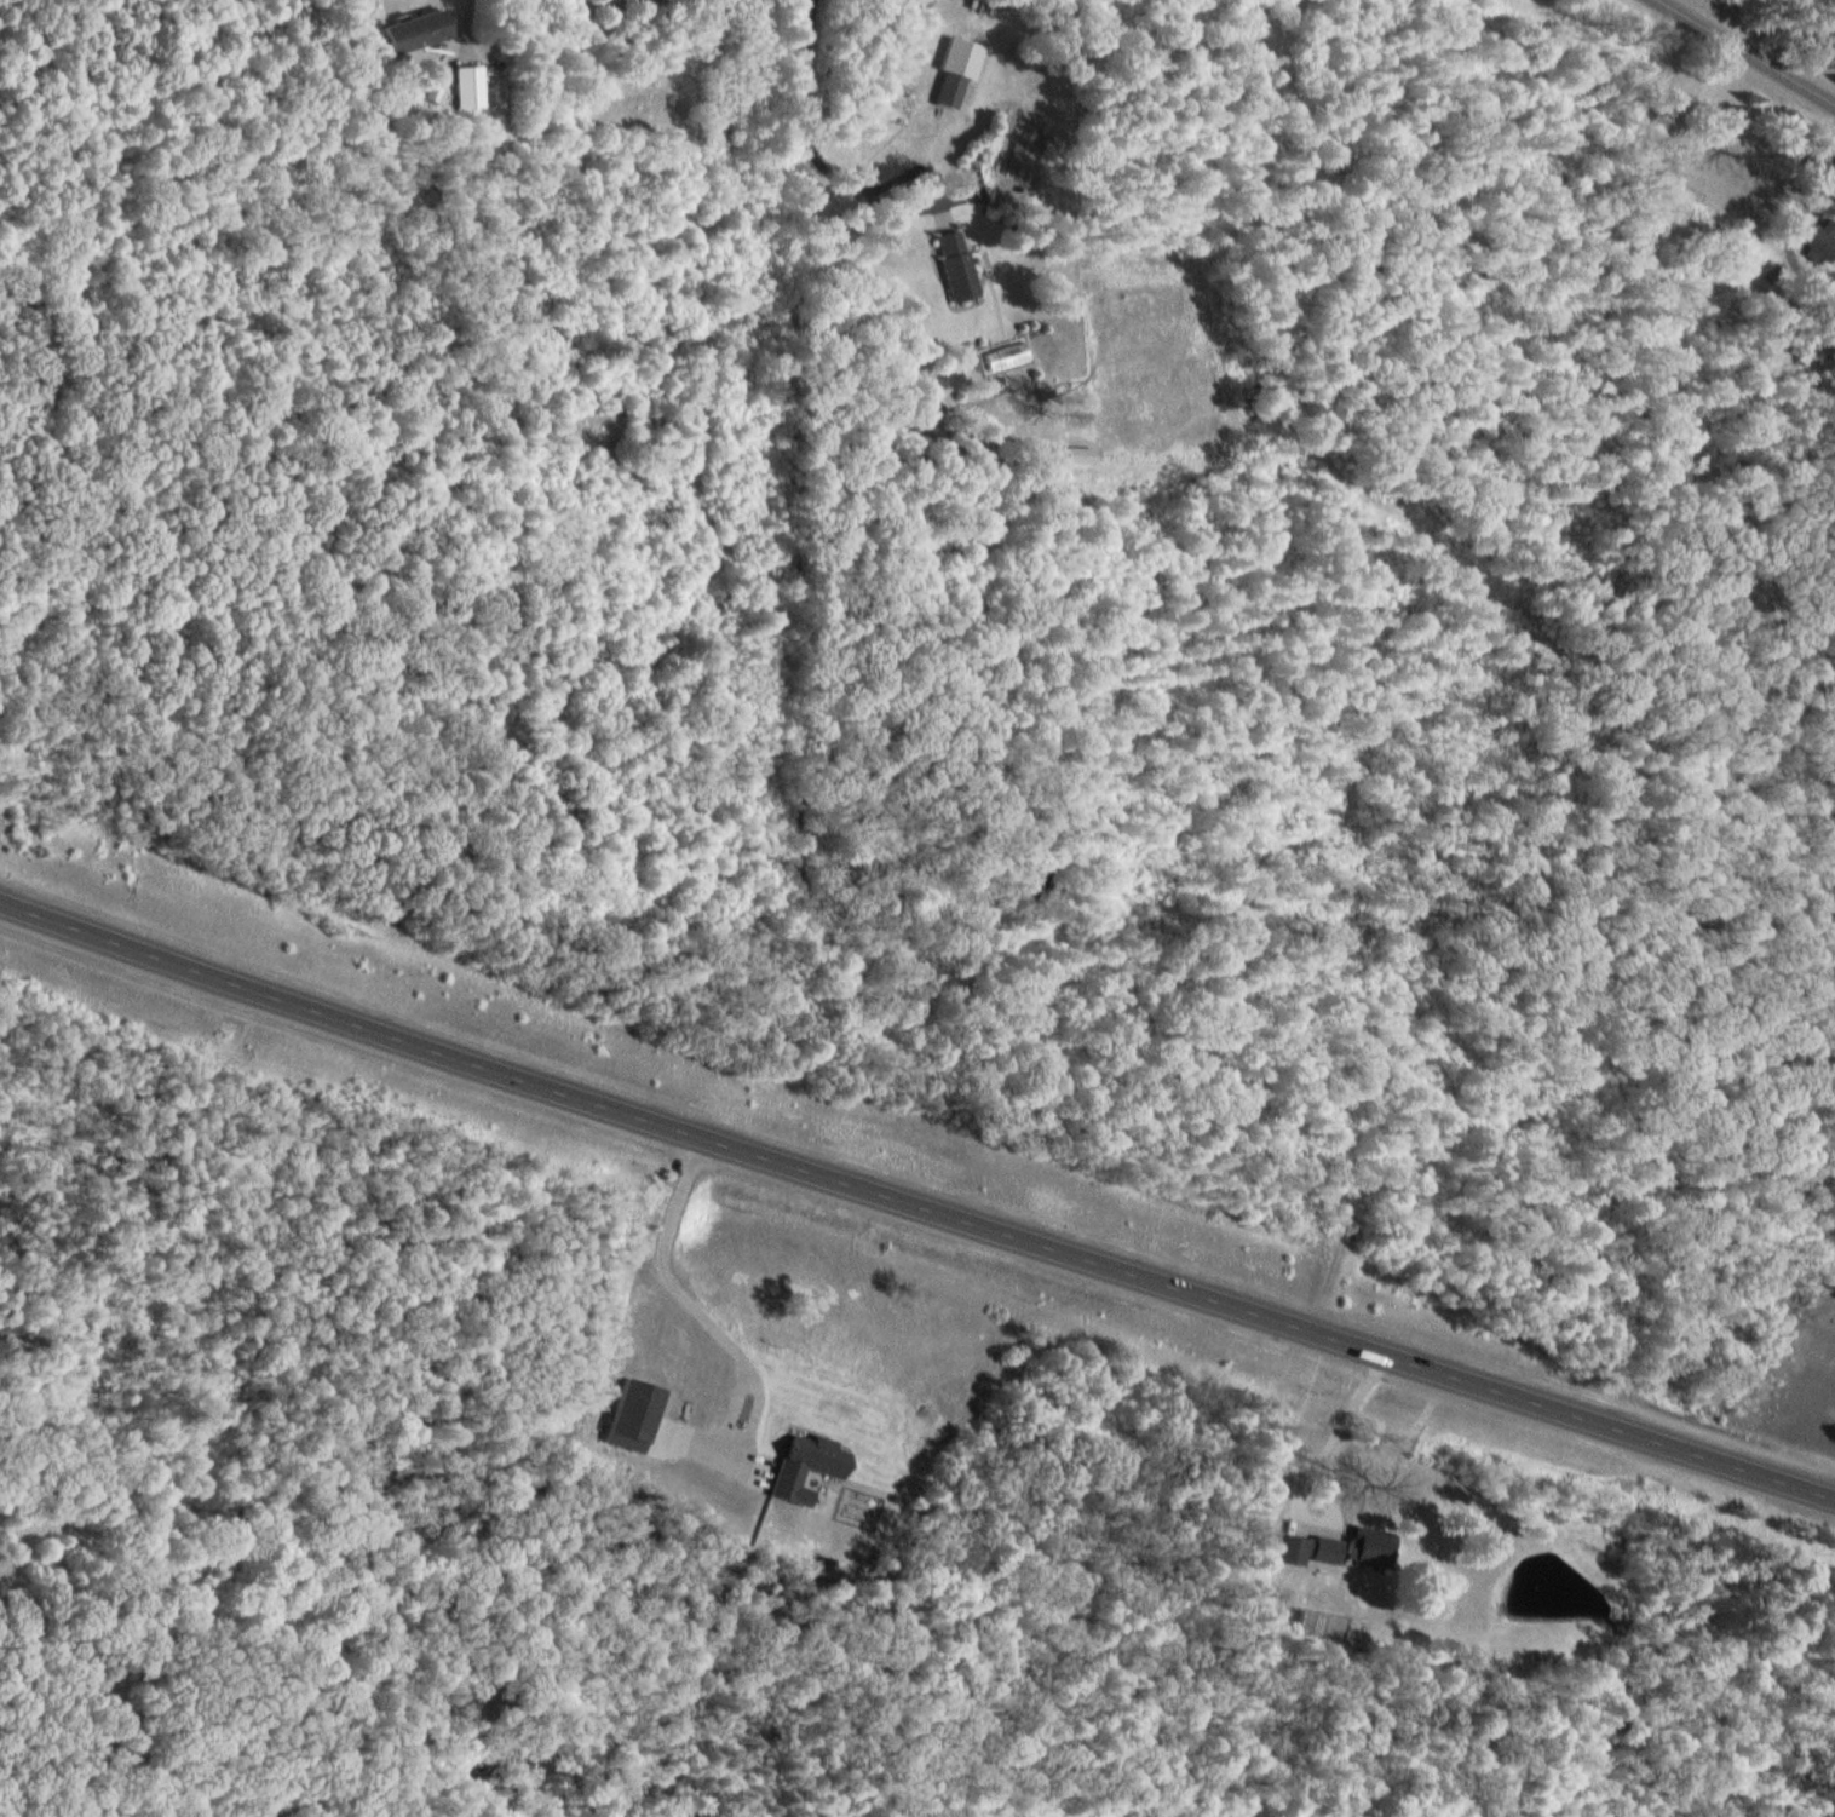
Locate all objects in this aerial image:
building: (409, 33)
road: (1748, 48)
building: (464, 87)
building: (951, 91)
building: (1819, 242)
building: (956, 268)
road: (916, 1204)
building: (1295, 1531)
building: (1425, 1598)

